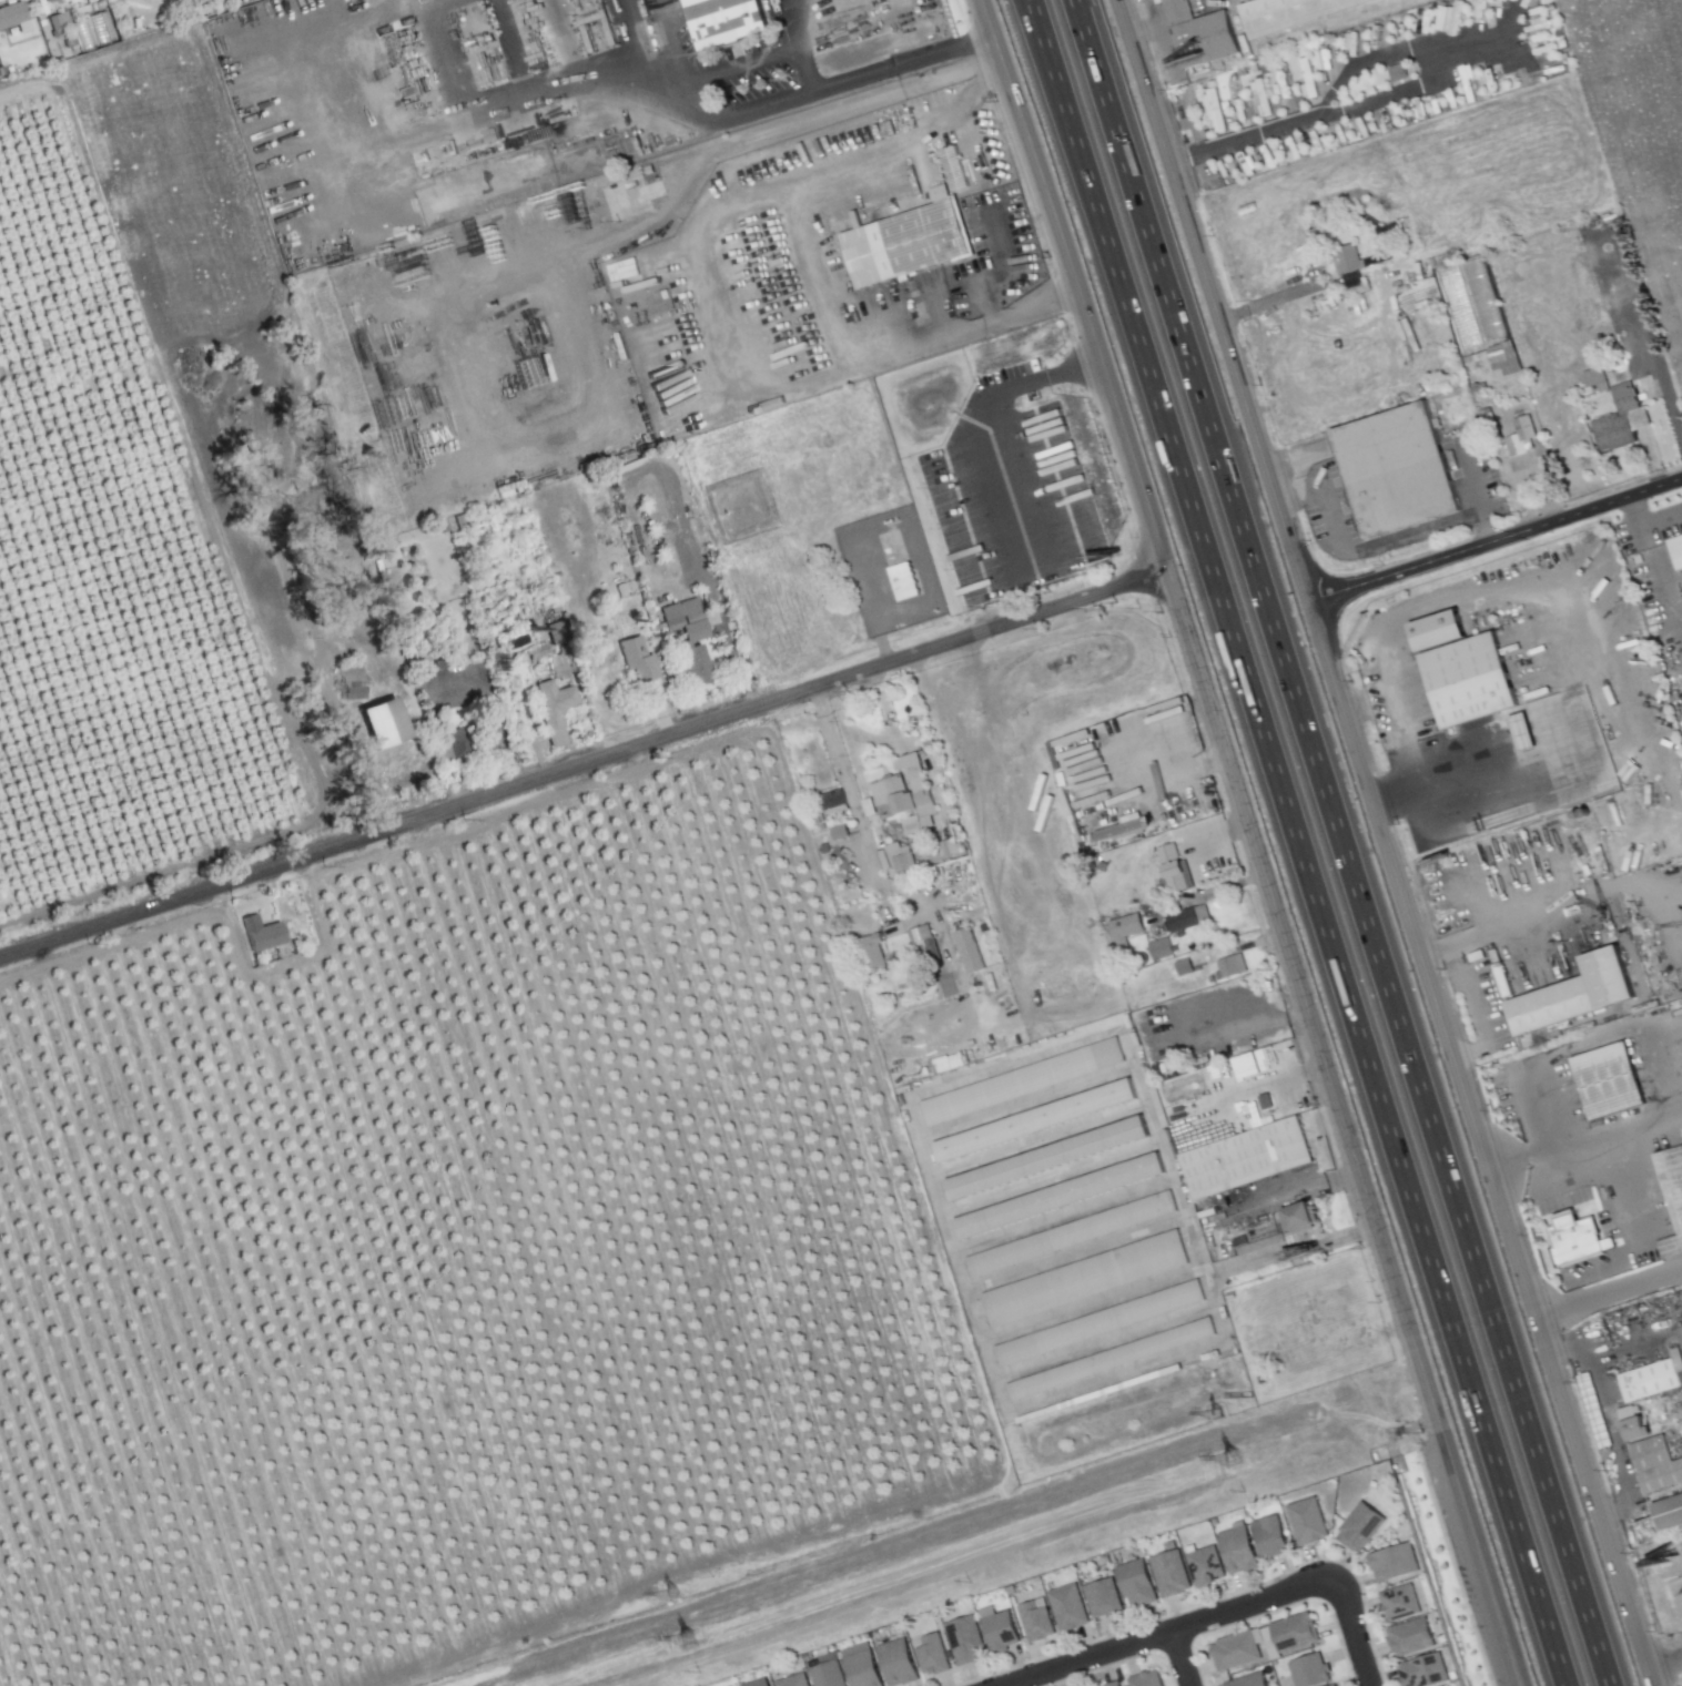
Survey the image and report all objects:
building: (47, 0)
building: (11, 10)
building: (81, 11)
building: (1291, 14)
building: (1448, 18)
building: (727, 20)
building: (58, 22)
road: (1154, 27)
road: (669, 35)
building: (1200, 35)
road: (792, 47)
building: (1395, 72)
building: (1305, 79)
road: (997, 81)
road: (828, 85)
road: (514, 97)
building: (1258, 98)
building: (1213, 110)
road: (1344, 110)
building: (951, 167)
building: (655, 192)
building: (906, 241)
building: (1350, 261)
road: (711, 290)
building: (1355, 291)
road: (1042, 303)
building: (1508, 358)
building: (1035, 363)
building: (1592, 376)
building: (1621, 384)
building: (1620, 430)
building: (1067, 441)
building: (1521, 444)
building: (1398, 475)
road: (1660, 517)
road: (1496, 541)
building: (1678, 549)
road: (1653, 563)
building: (901, 581)
building: (683, 615)
building: (1436, 630)
building: (554, 633)
road: (1554, 642)
building: (639, 658)
building: (440, 663)
building: (697, 664)
building: (560, 668)
building: (1471, 679)
building: (556, 709)
building: (382, 722)
building: (1524, 730)
road: (1398, 744)
building: (456, 745)
road: (585, 765)
road: (1172, 773)
building: (904, 794)
building: (833, 800)
building: (815, 815)
road: (855, 817)
building: (841, 833)
road: (1256, 842)
road: (1295, 842)
road: (1347, 842)
road: (1384, 842)
building: (855, 845)
building: (895, 860)
building: (1103, 865)
building: (1175, 869)
building: (854, 872)
building: (1184, 920)
building: (1128, 926)
building: (254, 931)
building: (920, 937)
building: (1163, 948)
building: (966, 951)
building: (874, 952)
building: (1233, 965)
building: (1185, 967)
building: (1577, 992)
building: (1610, 1079)
building: (1024, 1081)
building: (1038, 1118)
building: (1048, 1157)
building: (1247, 1159)
building: (1674, 1195)
building: (1061, 1196)
building: (1297, 1216)
building: (1074, 1233)
building: (1581, 1242)
building: (1086, 1278)
road: (1608, 1296)
building: (1235, 1313)
building: (1102, 1322)
building: (1114, 1359)
building: (1651, 1380)
power tower: (1217, 1413)
road: (1609, 1418)
building: (1630, 1422)
building: (1652, 1454)
power tower: (1233, 1461)
building: (1662, 1476)
building: (1669, 1513)
building: (1309, 1522)
building: (1361, 1526)
building: (1273, 1537)
building: (1239, 1550)
building: (1395, 1562)
building: (1207, 1567)
building: (1173, 1573)
building: (1137, 1584)
power tower: (673, 1595)
building: (1106, 1598)
building: (1401, 1603)
building: (1070, 1607)
building: (1037, 1622)
building: (1002, 1631)
road: (1171, 1632)
building: (1295, 1632)
road: (1352, 1632)
building: (1412, 1637)
building: (967, 1641)
power tower: (686, 1642)
building: (1236, 1652)
building: (934, 1655)
road: (1662, 1657)
road: (1181, 1658)
building: (899, 1662)
building: (863, 1668)
building: (1310, 1670)
building: (1426, 1672)
building: (829, 1675)
building: (1148, 1679)
building: (794, 1680)
building: (1249, 1680)
building: (757, 1683)
building: (1116, 1684)
building: (1333, 1685)
building: (1337, 1685)

